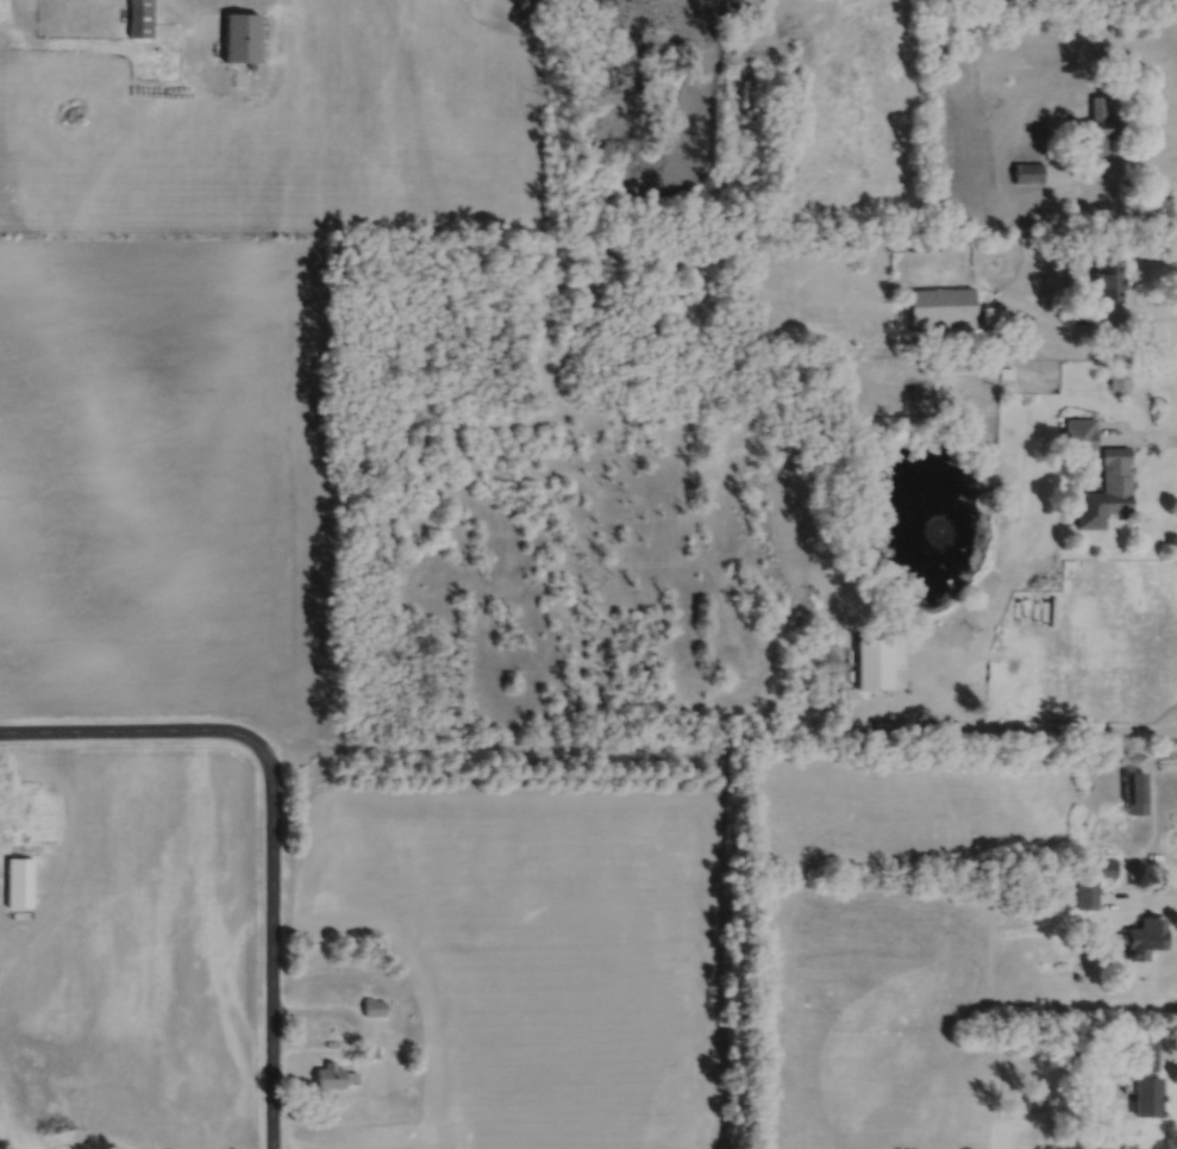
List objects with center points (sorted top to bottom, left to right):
road: (186, 13)
building: (140, 18)
building: (240, 37)
building: (1097, 126)
crop: (294, 131)
building: (1023, 142)
road: (1113, 167)
building: (1028, 171)
building: (922, 245)
building: (1108, 281)
building: (939, 308)
building: (1079, 313)
building: (977, 314)
building: (1003, 373)
building: (1078, 433)
road: (1138, 437)
crop: (164, 480)
building: (1112, 481)
building: (1068, 561)
building: (874, 660)
road: (1022, 725)
road: (146, 728)
building: (1132, 754)
building: (1167, 764)
building: (1135, 791)
building: (1104, 864)
building: (18, 880)
building: (1085, 893)
road: (1140, 899)
building: (1144, 936)
road: (271, 961)
building: (372, 1005)
road: (357, 1025)
building: (370, 1050)
building: (1145, 1051)
building: (334, 1075)
building: (1145, 1094)
building: (1034, 1100)
building: (1096, 1106)

